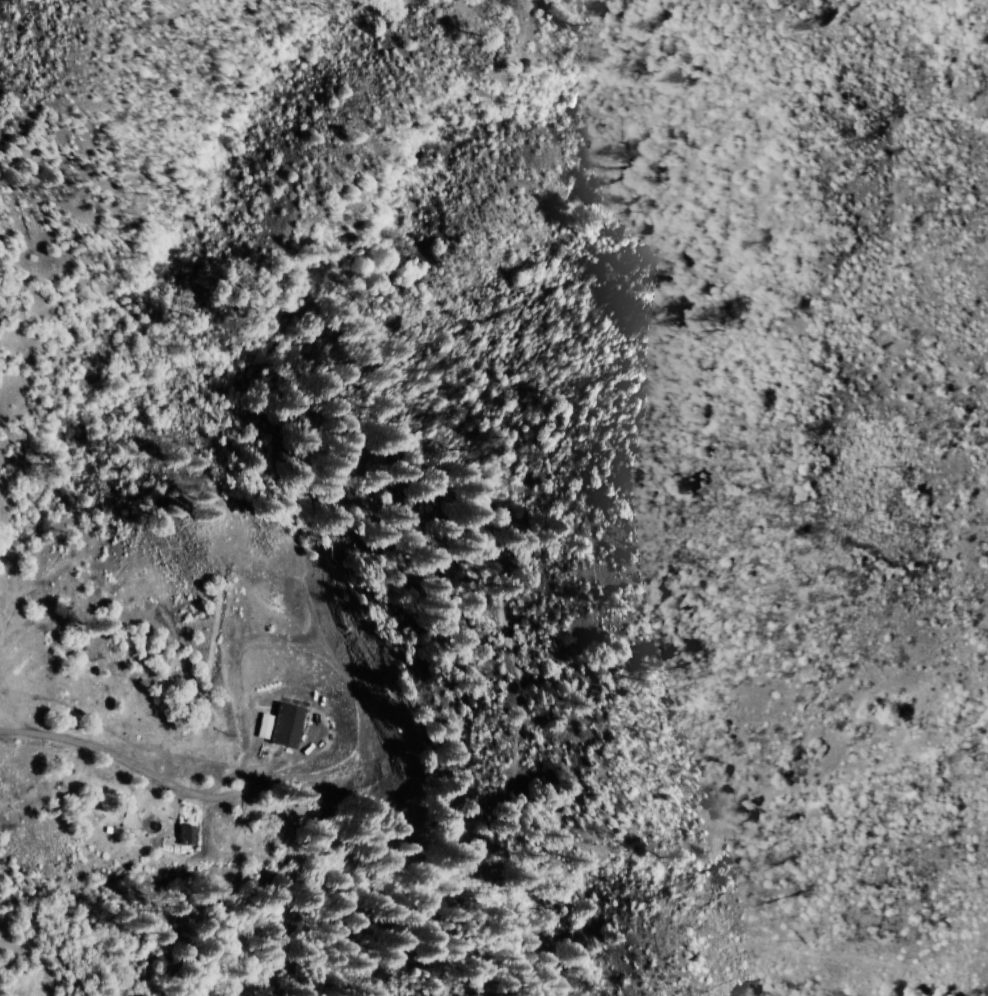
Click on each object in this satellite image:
building: (278, 725)
road: (105, 763)
building: (182, 834)

